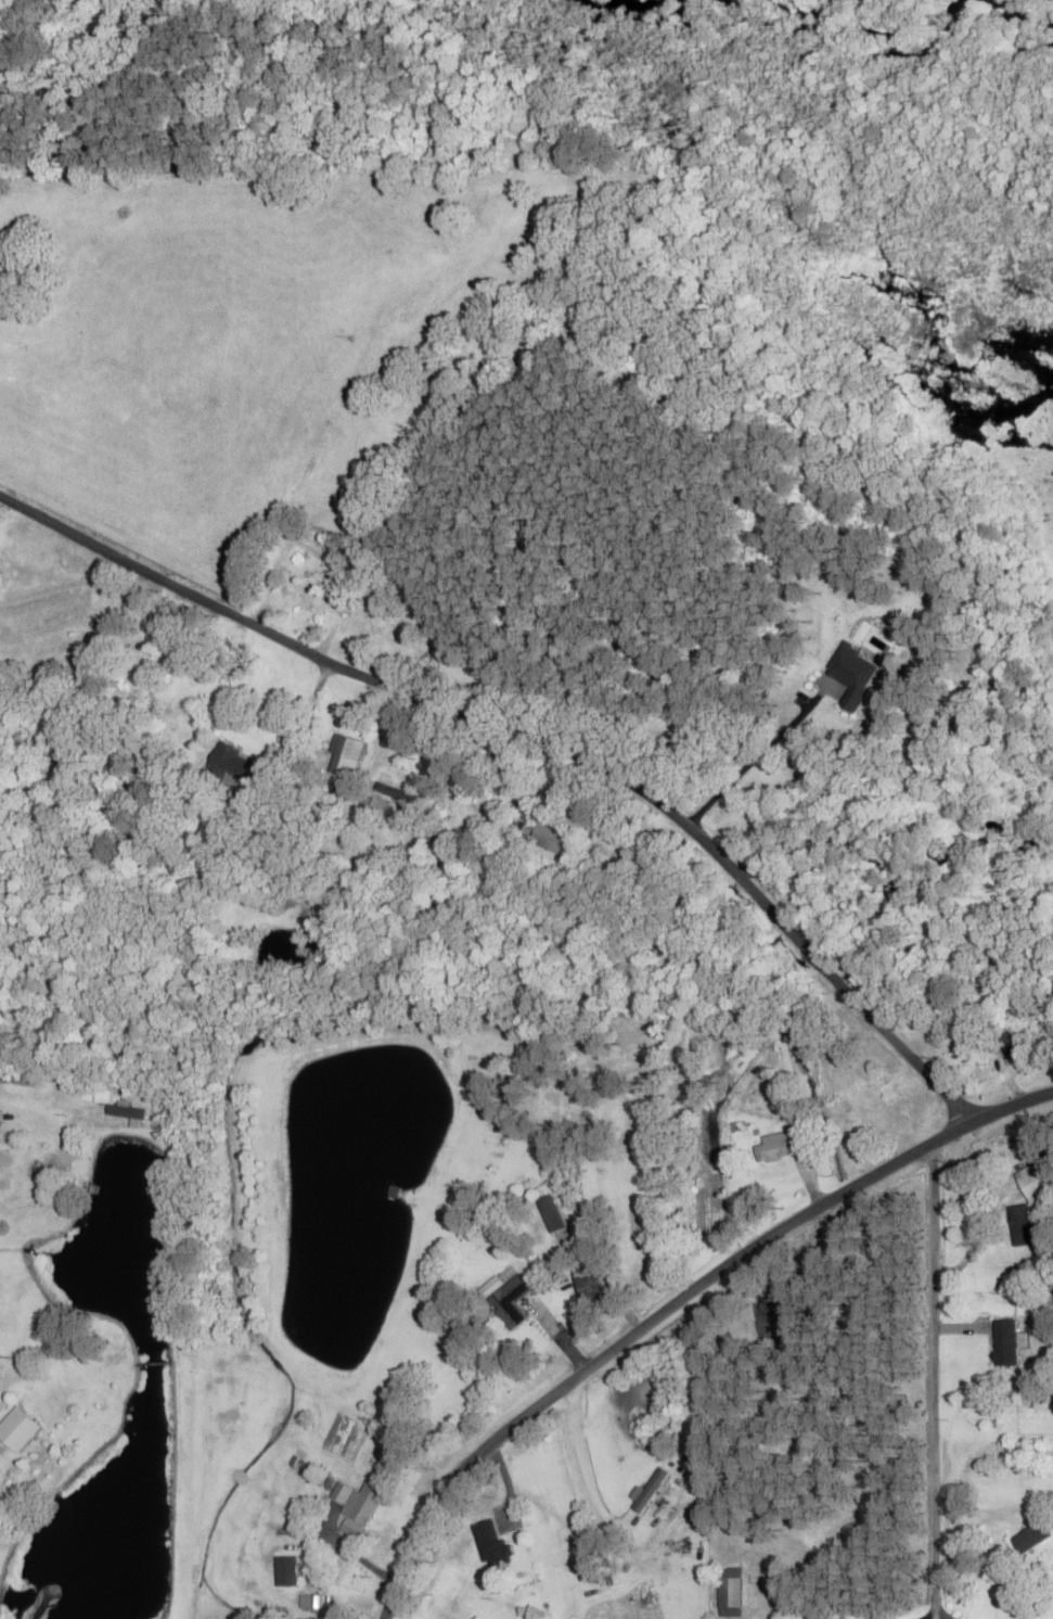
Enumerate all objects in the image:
building: (920, 587)
building: (851, 676)
road: (541, 734)
building: (344, 757)
building: (231, 765)
building: (328, 794)
building: (547, 838)
building: (1007, 1046)
building: (898, 1104)
building: (775, 1148)
building: (1036, 1178)
building: (550, 1214)
building: (587, 1284)
building: (505, 1300)
road: (672, 1305)
building: (1004, 1343)
road: (934, 1385)
river: (152, 1413)
building: (16, 1431)
building: (308, 1488)
building: (650, 1491)
building: (341, 1495)
building: (365, 1503)
road: (532, 1526)
building: (489, 1544)
building: (728, 1593)
building: (319, 1604)
building: (501, 1616)

